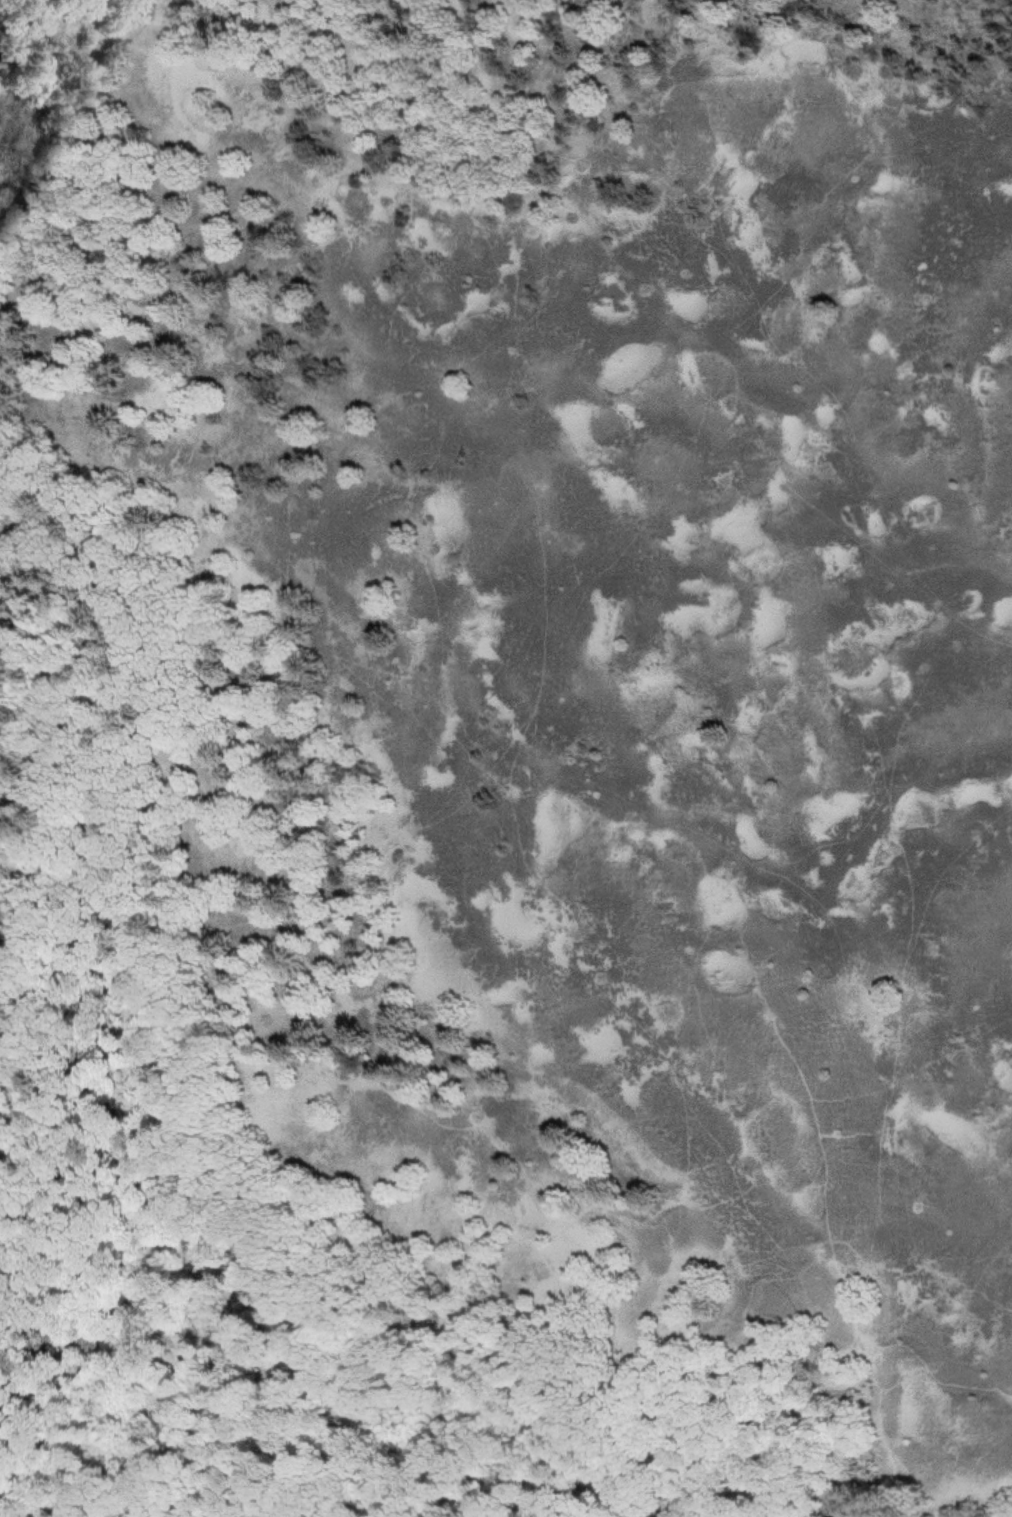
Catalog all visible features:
park: (506, 758)
road: (141, 870)

